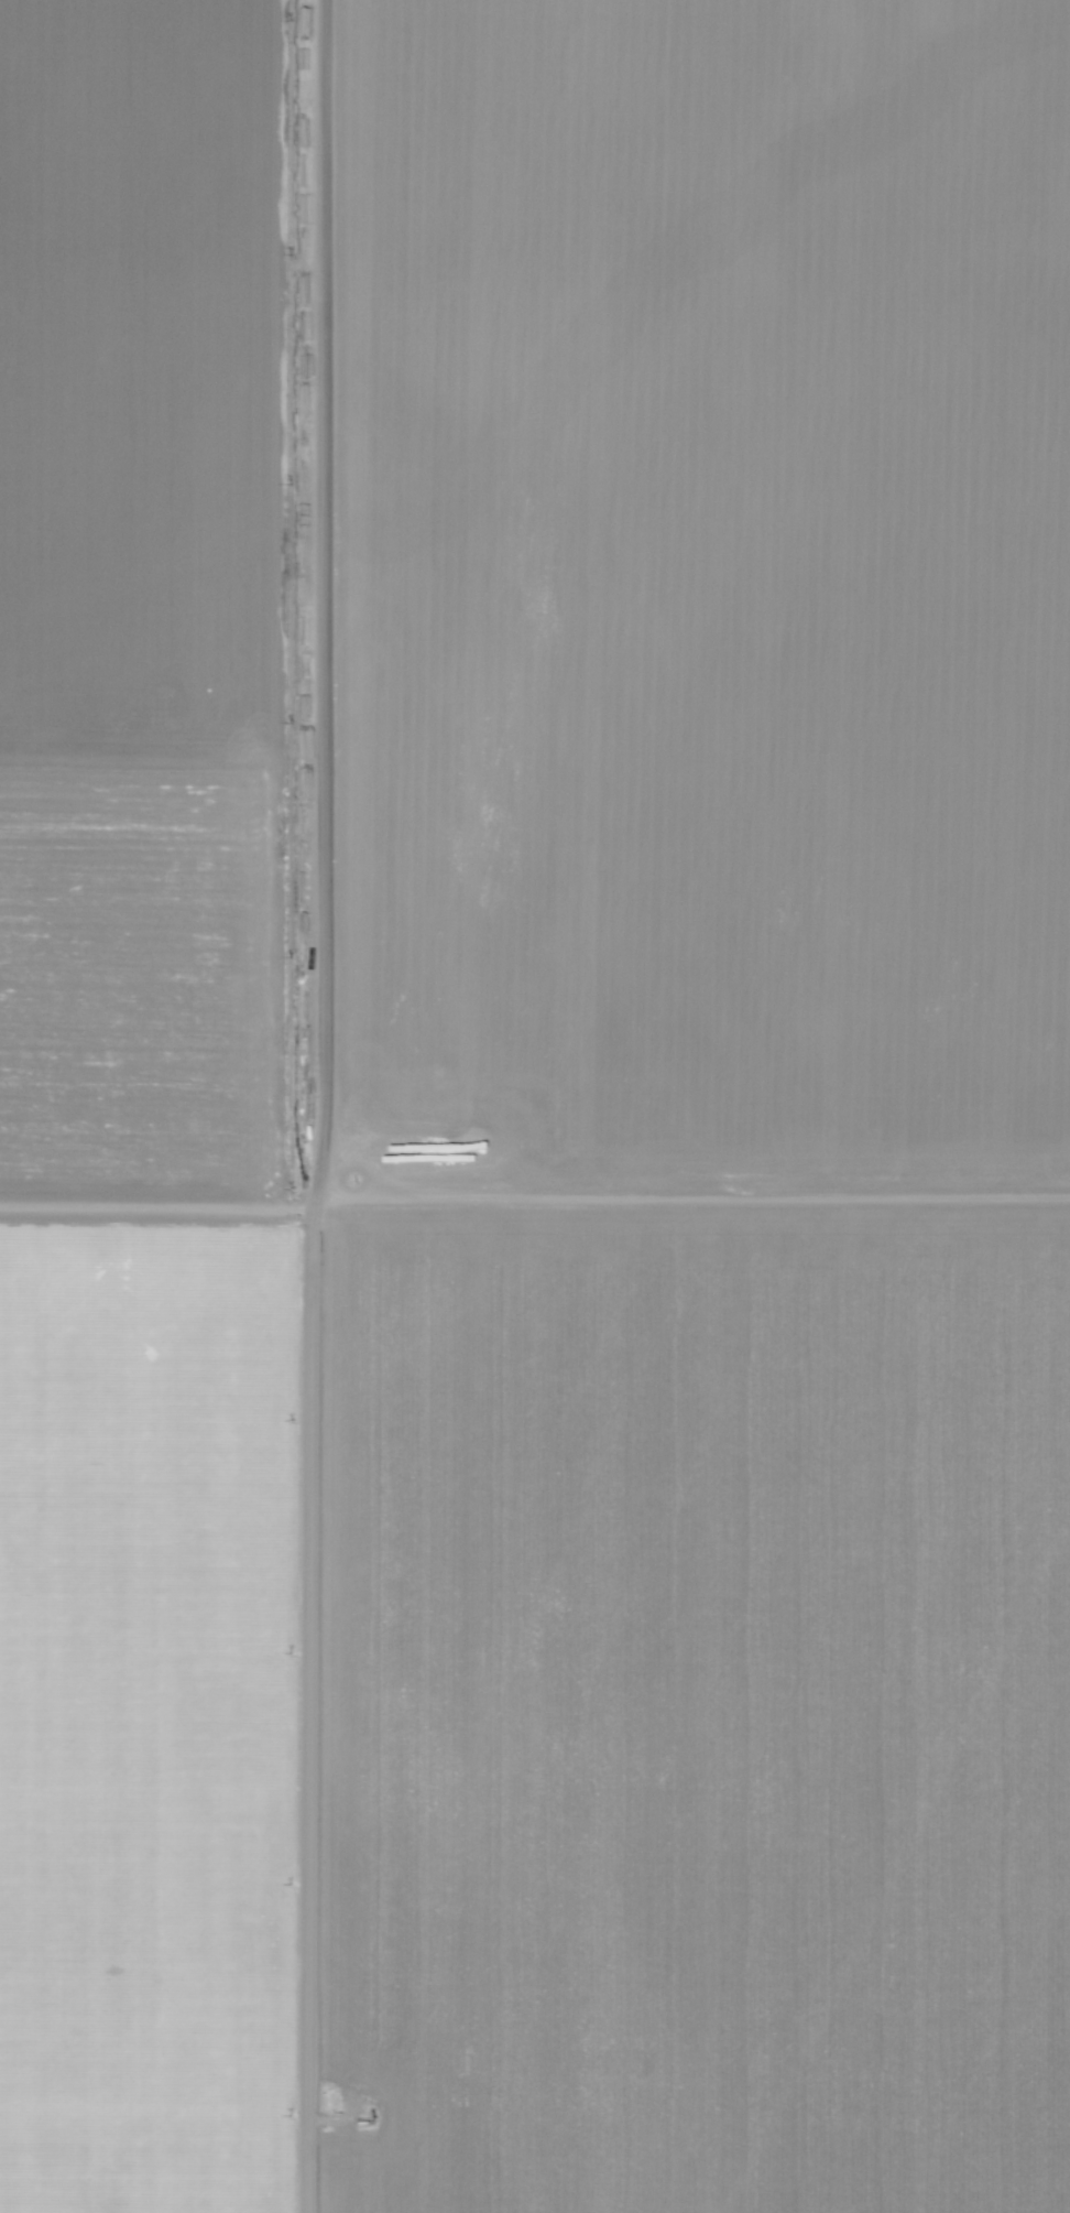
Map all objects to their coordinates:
crop: (681, 600)
road: (314, 1106)
road: (535, 1196)
crop: (140, 1701)
crop: (675, 1705)

